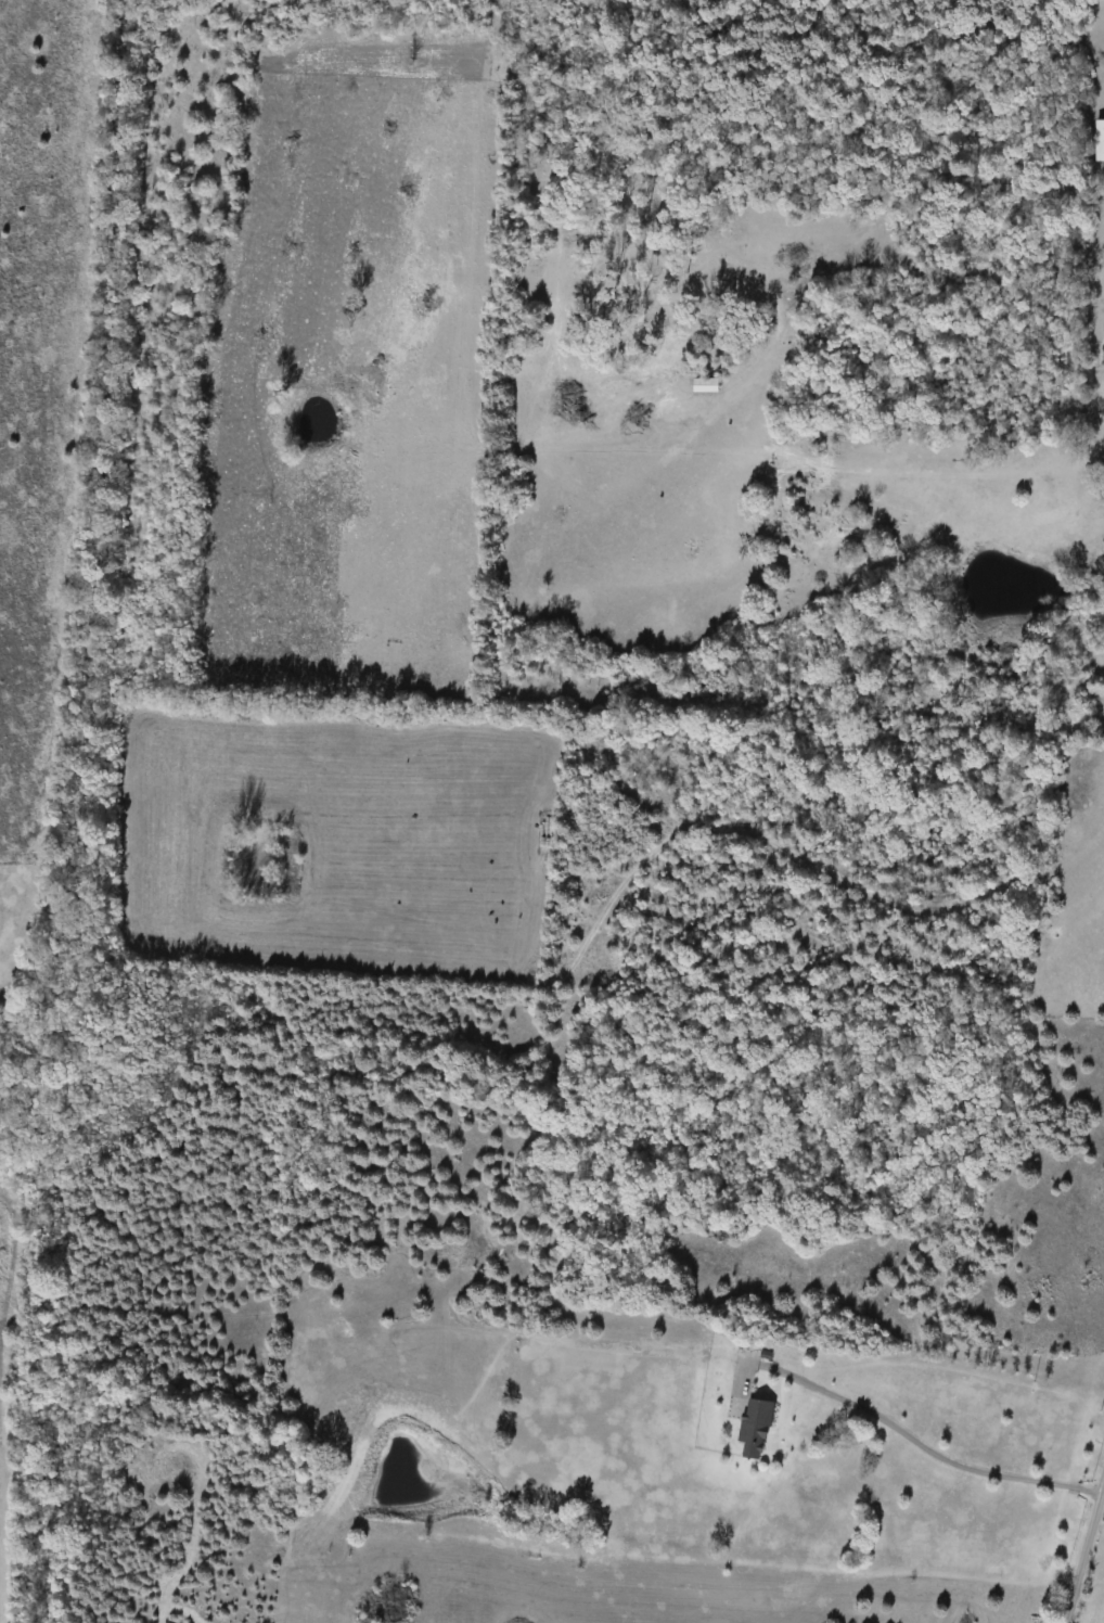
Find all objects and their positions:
building: (1097, 140)
building: (702, 384)
building: (752, 1428)
road: (932, 1451)
road: (1083, 1548)

